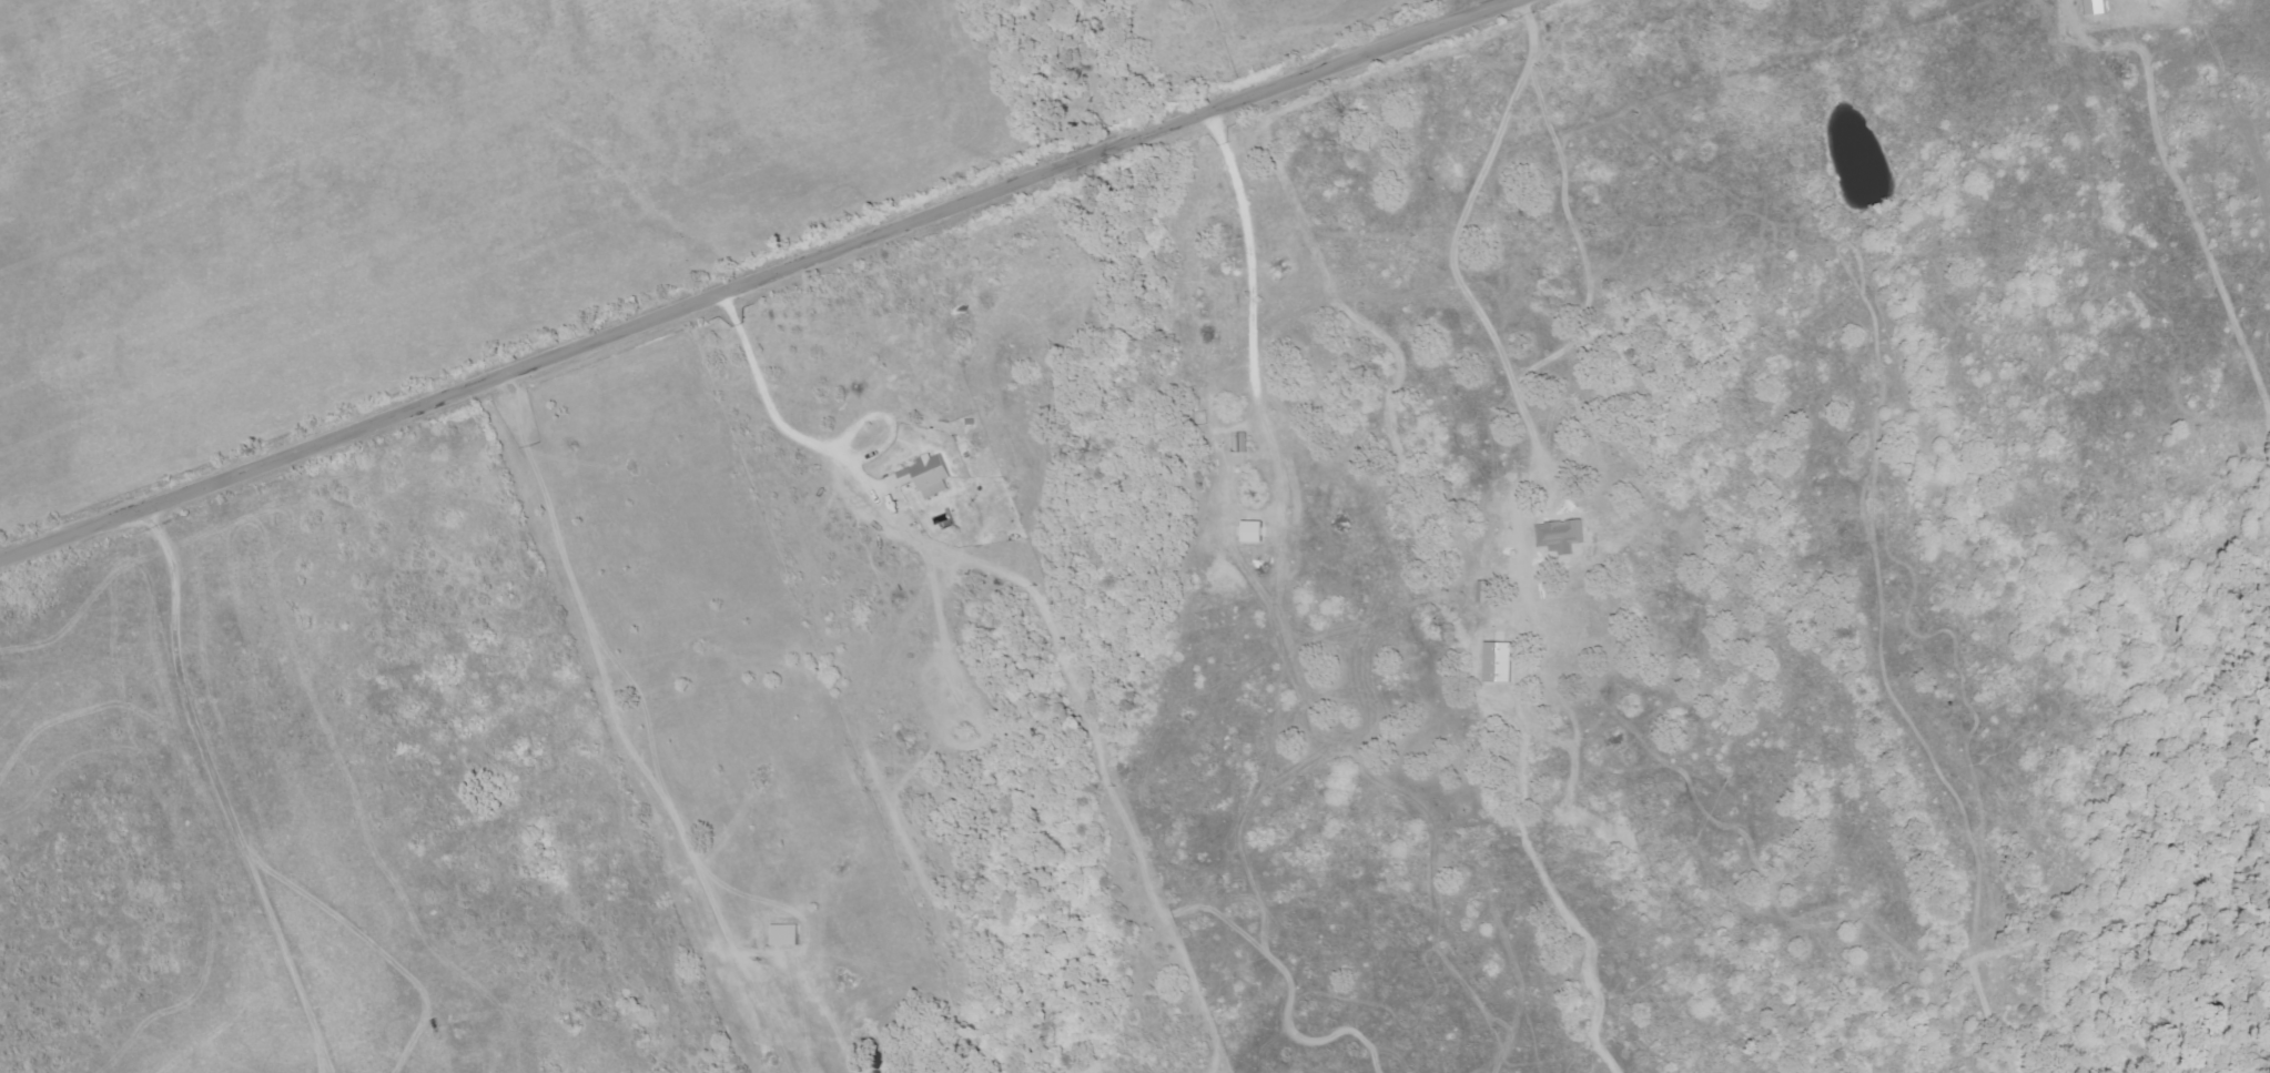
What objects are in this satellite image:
building: (2095, 7)
road: (1452, 246)
road: (1247, 250)
road: (754, 281)
road: (812, 444)
building: (926, 475)
building: (1251, 530)
building: (1483, 591)
building: (1498, 661)
road: (182, 809)
building: (783, 934)

